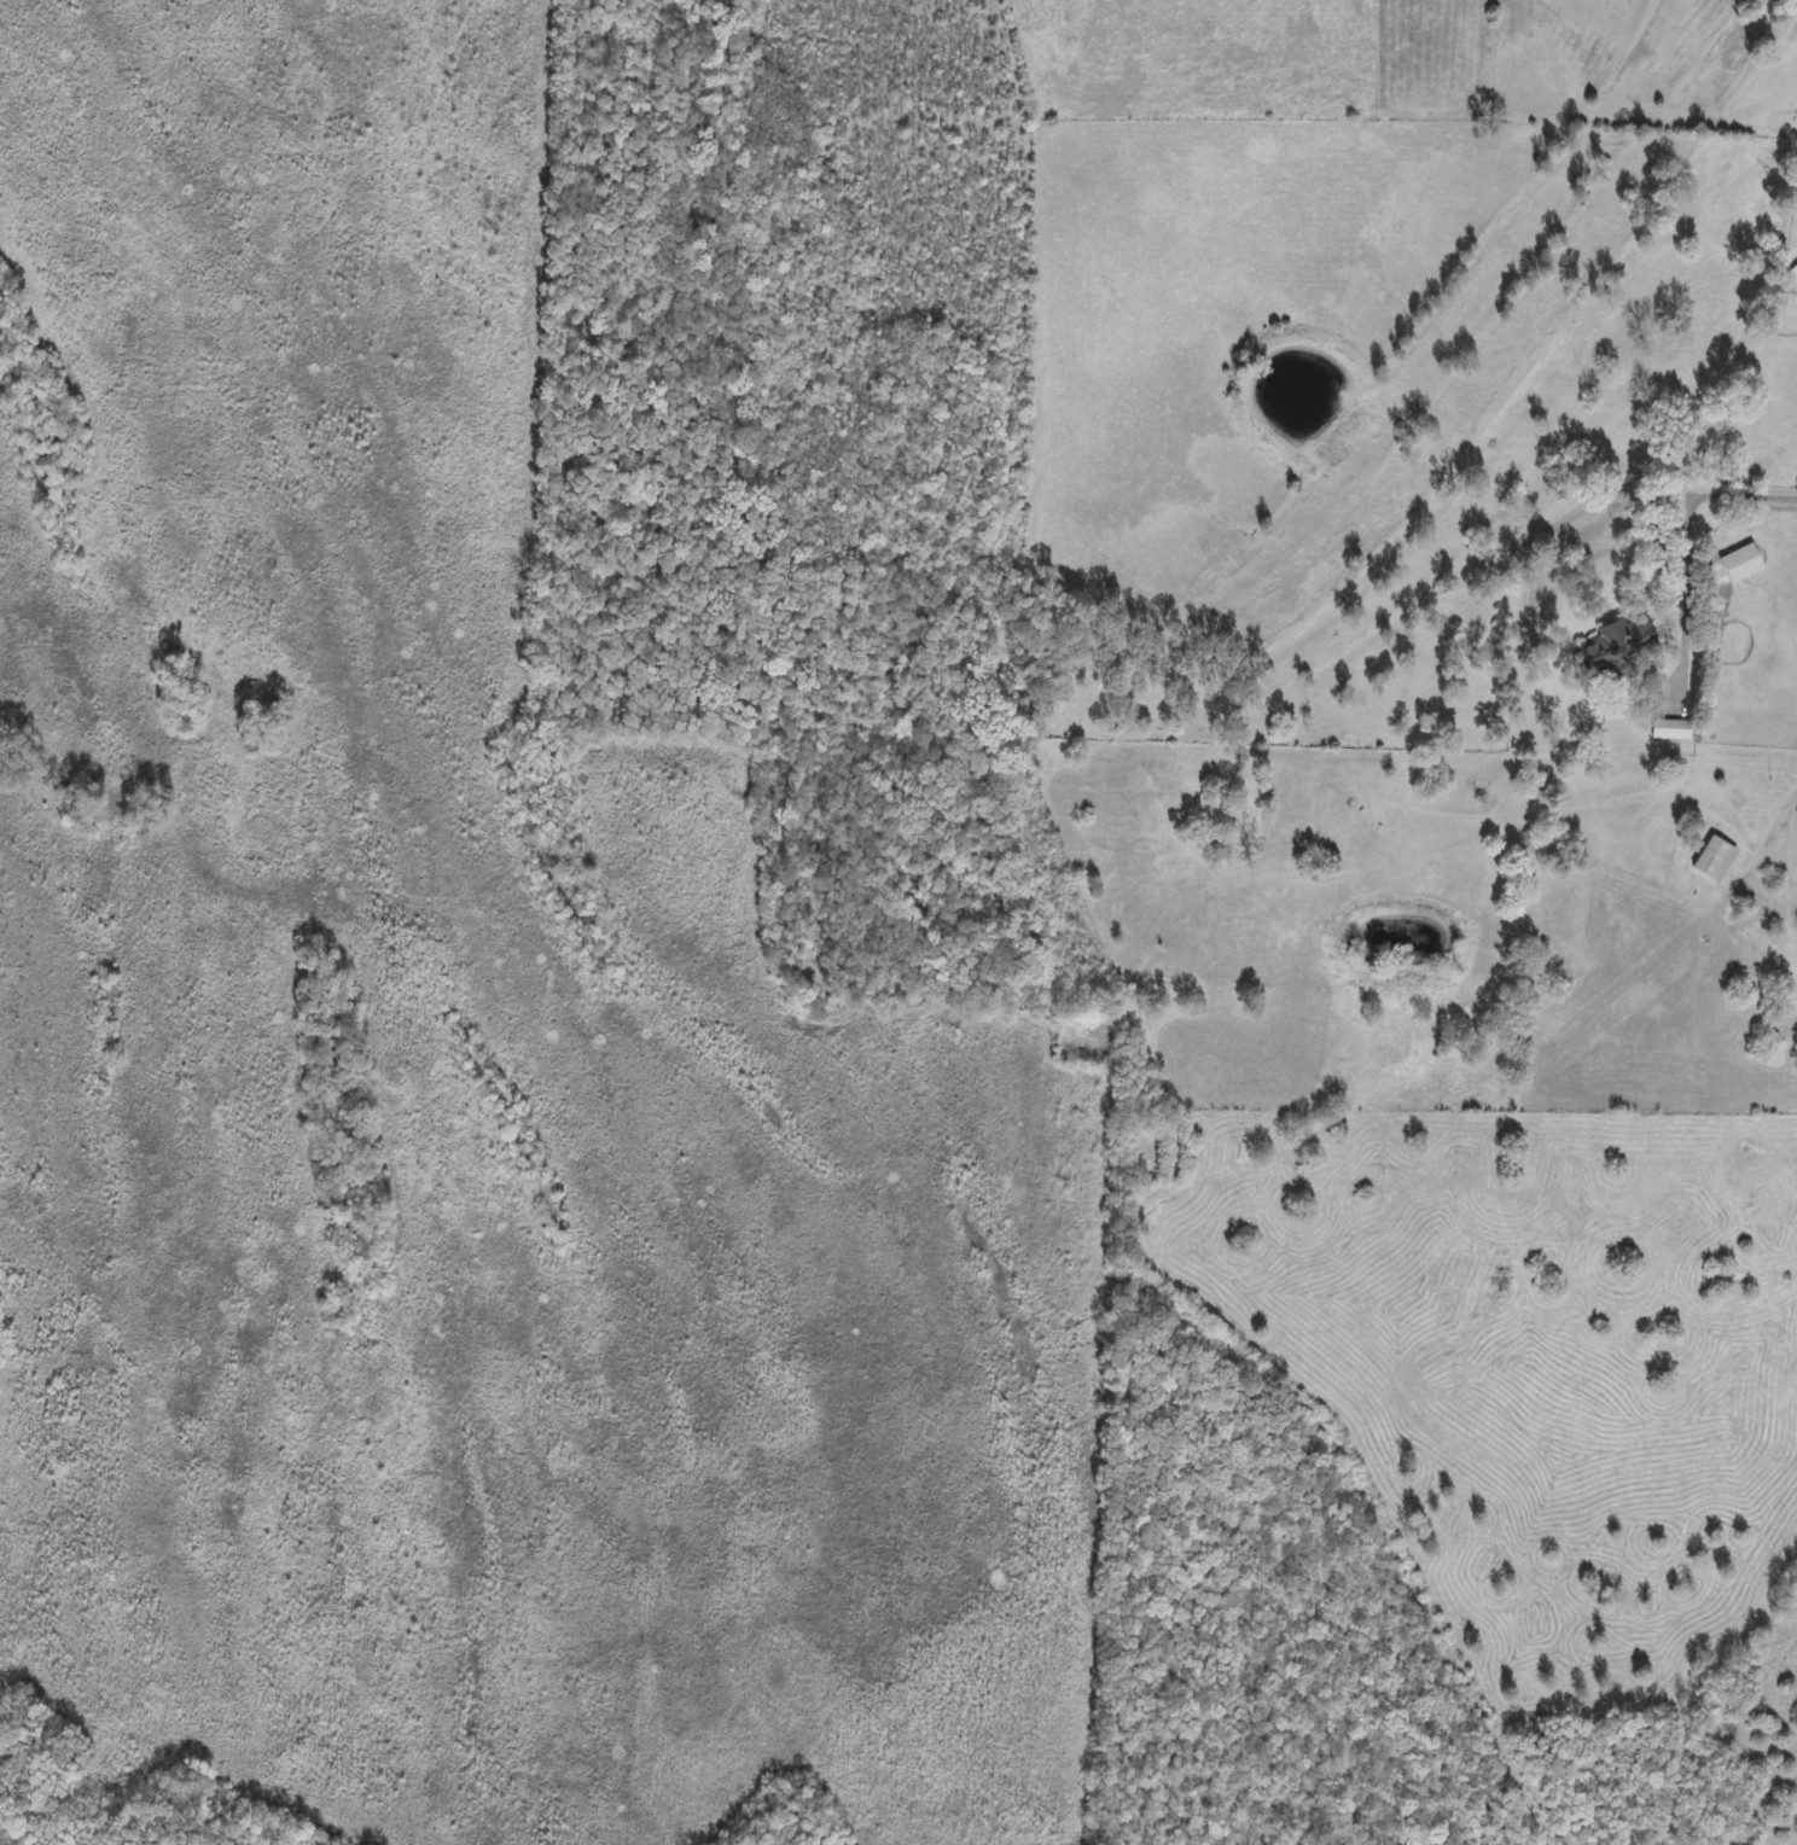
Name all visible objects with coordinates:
road: (1688, 559)
building: (1743, 563)
building: (1616, 642)
building: (1680, 731)
building: (1716, 859)

